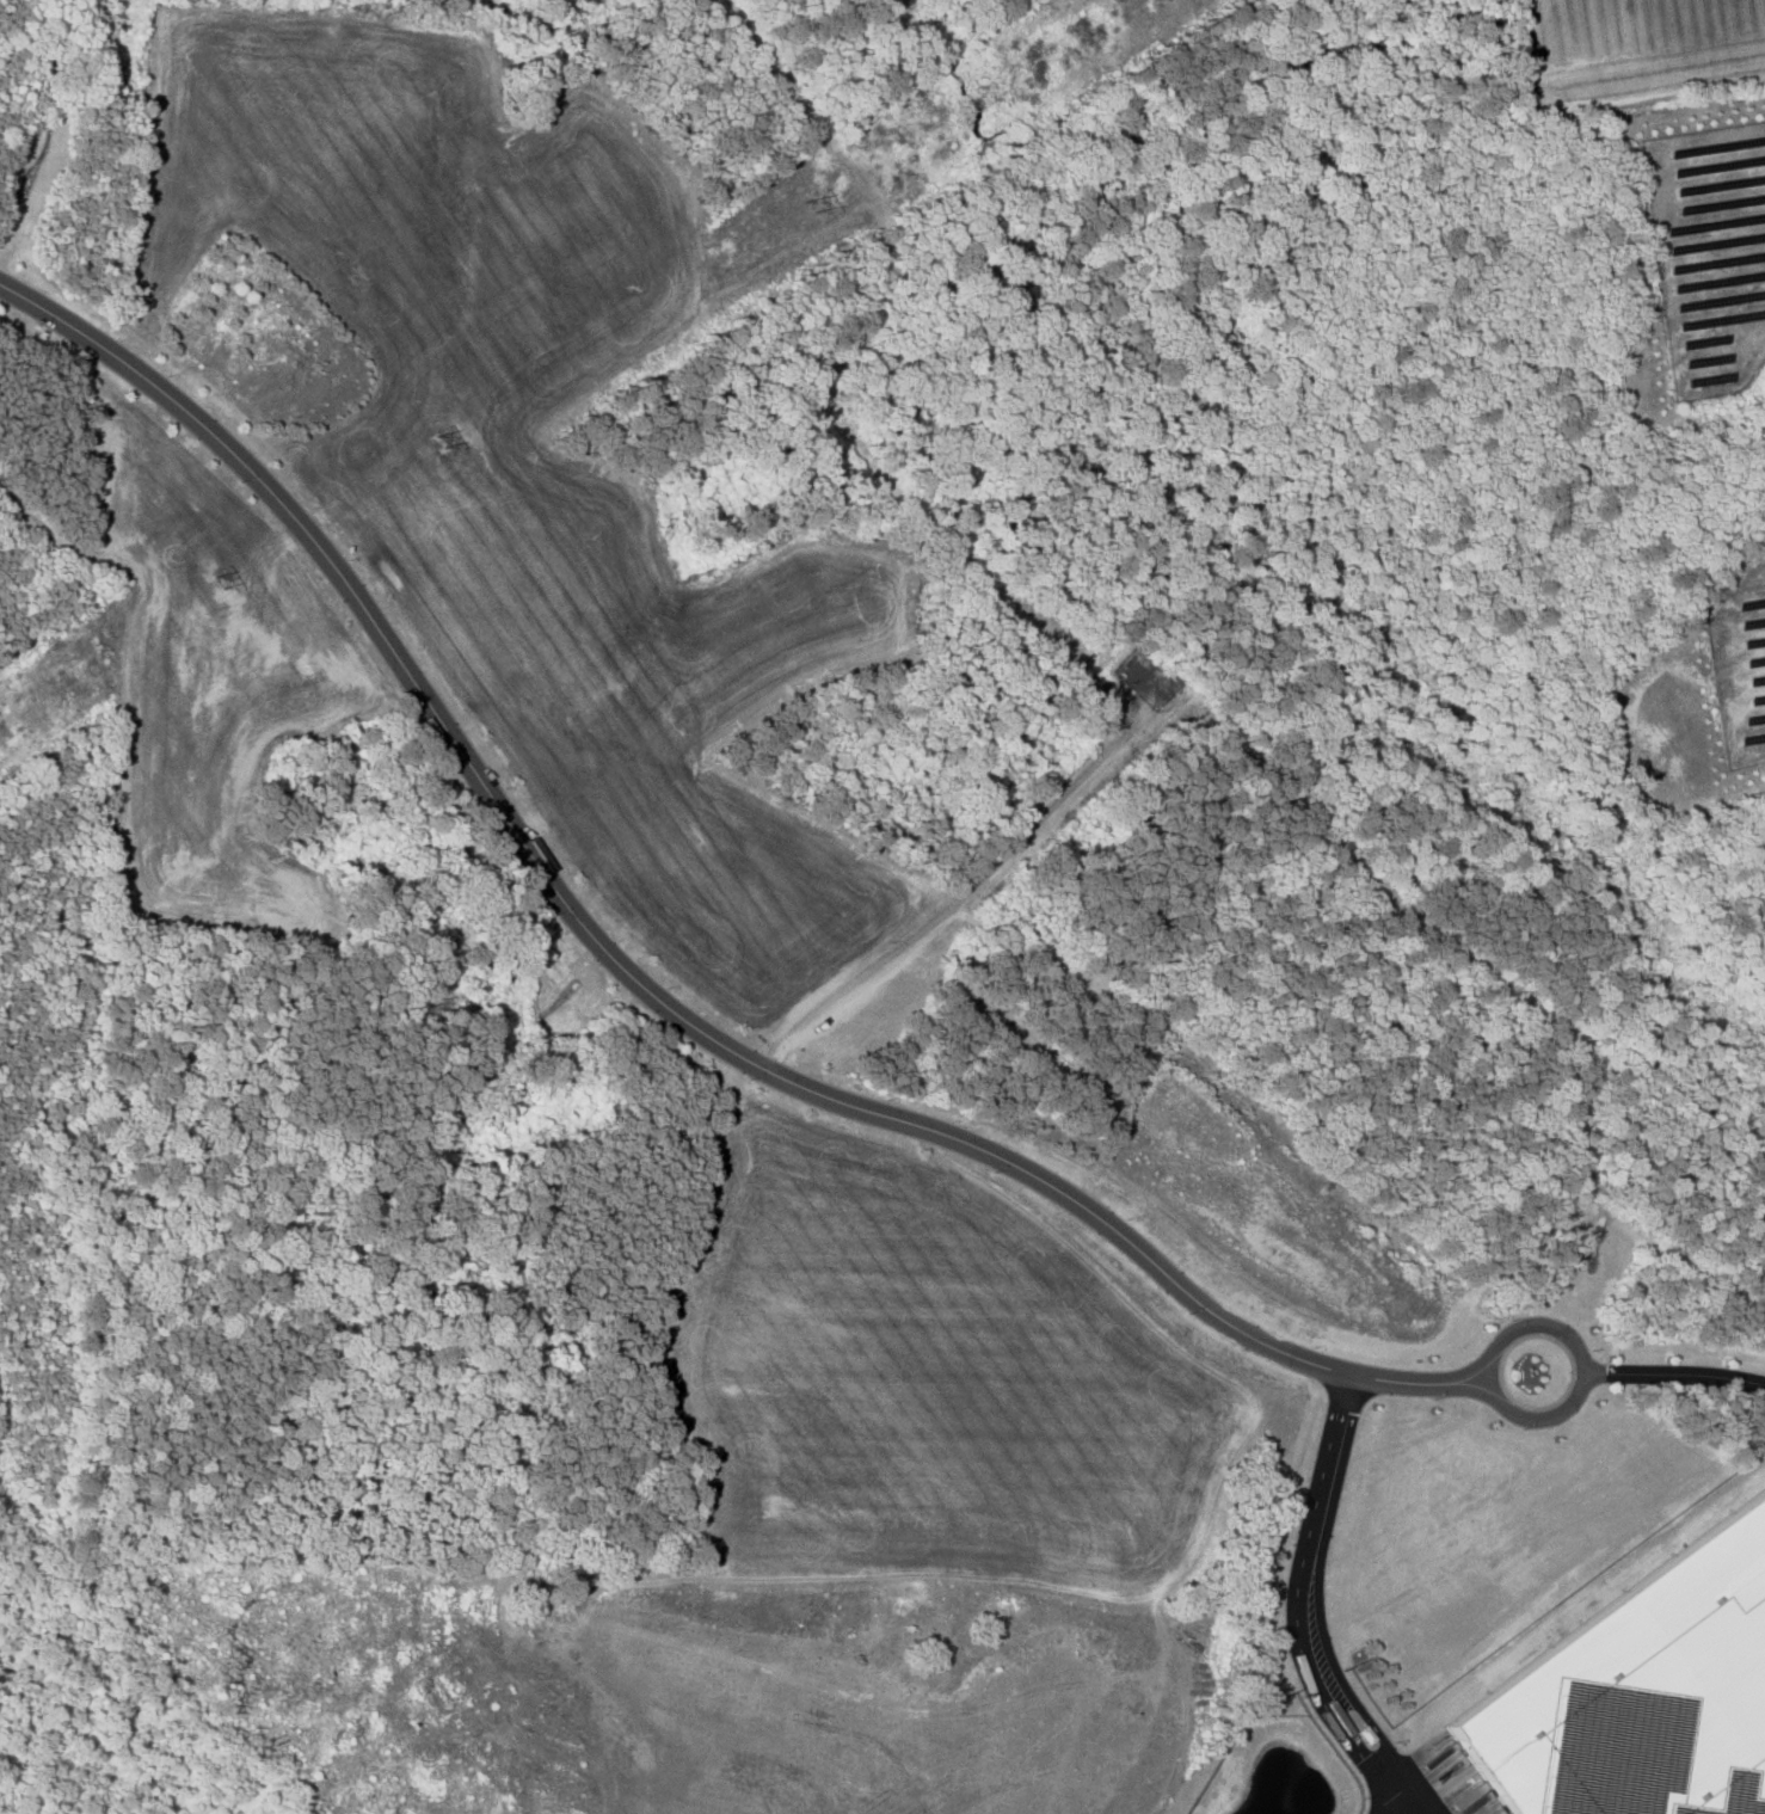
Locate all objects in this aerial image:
power tower: (806, 208)
solar farm: (1720, 381)
power tower: (441, 443)
road: (640, 980)
road: (1581, 1367)
road: (1673, 1372)
road: (1304, 1609)
building: (1638, 1691)
road: (1406, 1808)

